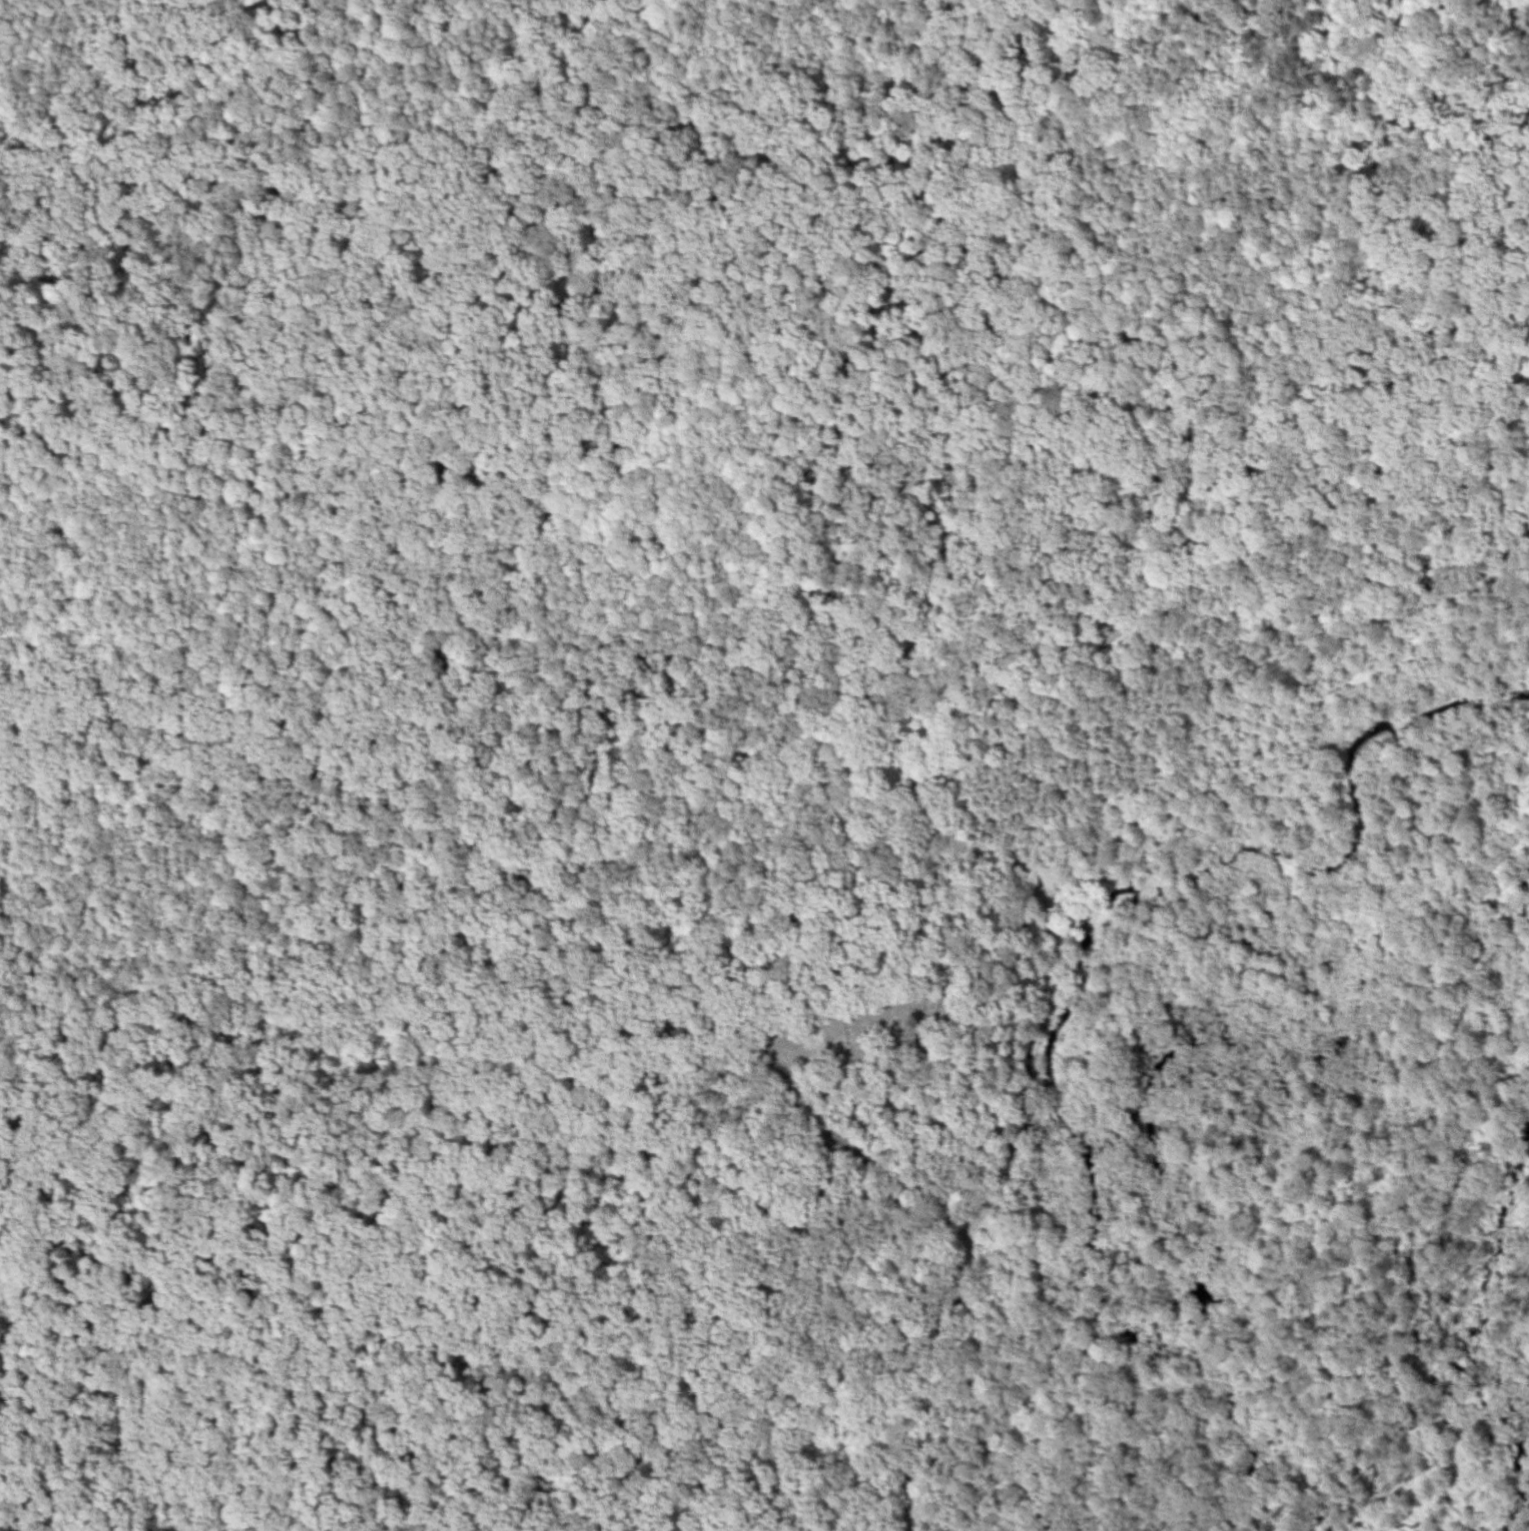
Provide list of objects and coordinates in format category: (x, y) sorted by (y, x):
river: (1360, 837)
road: (969, 844)
road: (317, 878)
park: (858, 1026)
road: (836, 1152)
road: (415, 1321)

